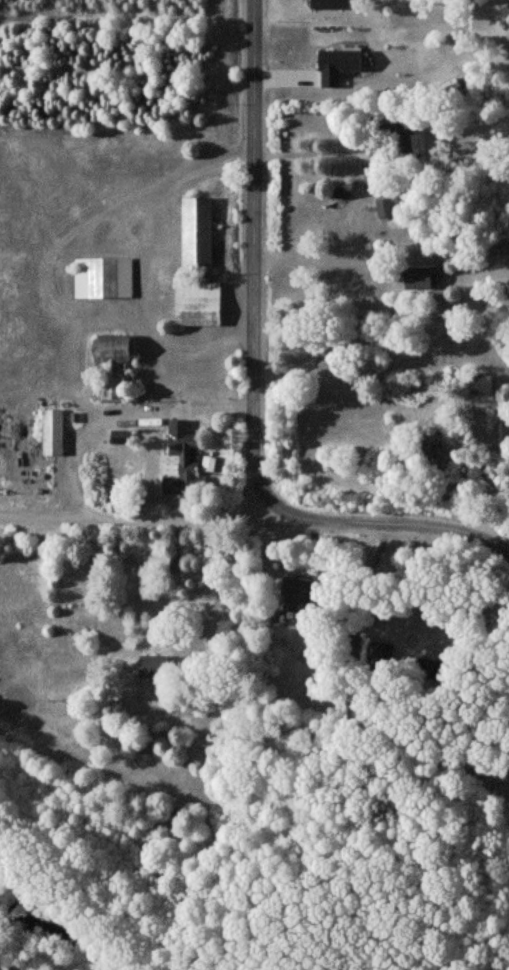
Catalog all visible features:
building: (331, 4)
building: (339, 64)
building: (405, 137)
road: (328, 154)
building: (385, 206)
building: (198, 231)
road: (254, 259)
road: (142, 262)
building: (104, 277)
building: (199, 303)
building: (114, 364)
building: (484, 384)
road: (112, 407)
building: (54, 432)
building: (442, 454)
building: (181, 459)
building: (209, 463)
road: (128, 517)
road: (385, 524)
road: (221, 582)
road: (344, 584)
road: (415, 584)
building: (299, 587)
building: (381, 651)
building: (154, 666)

